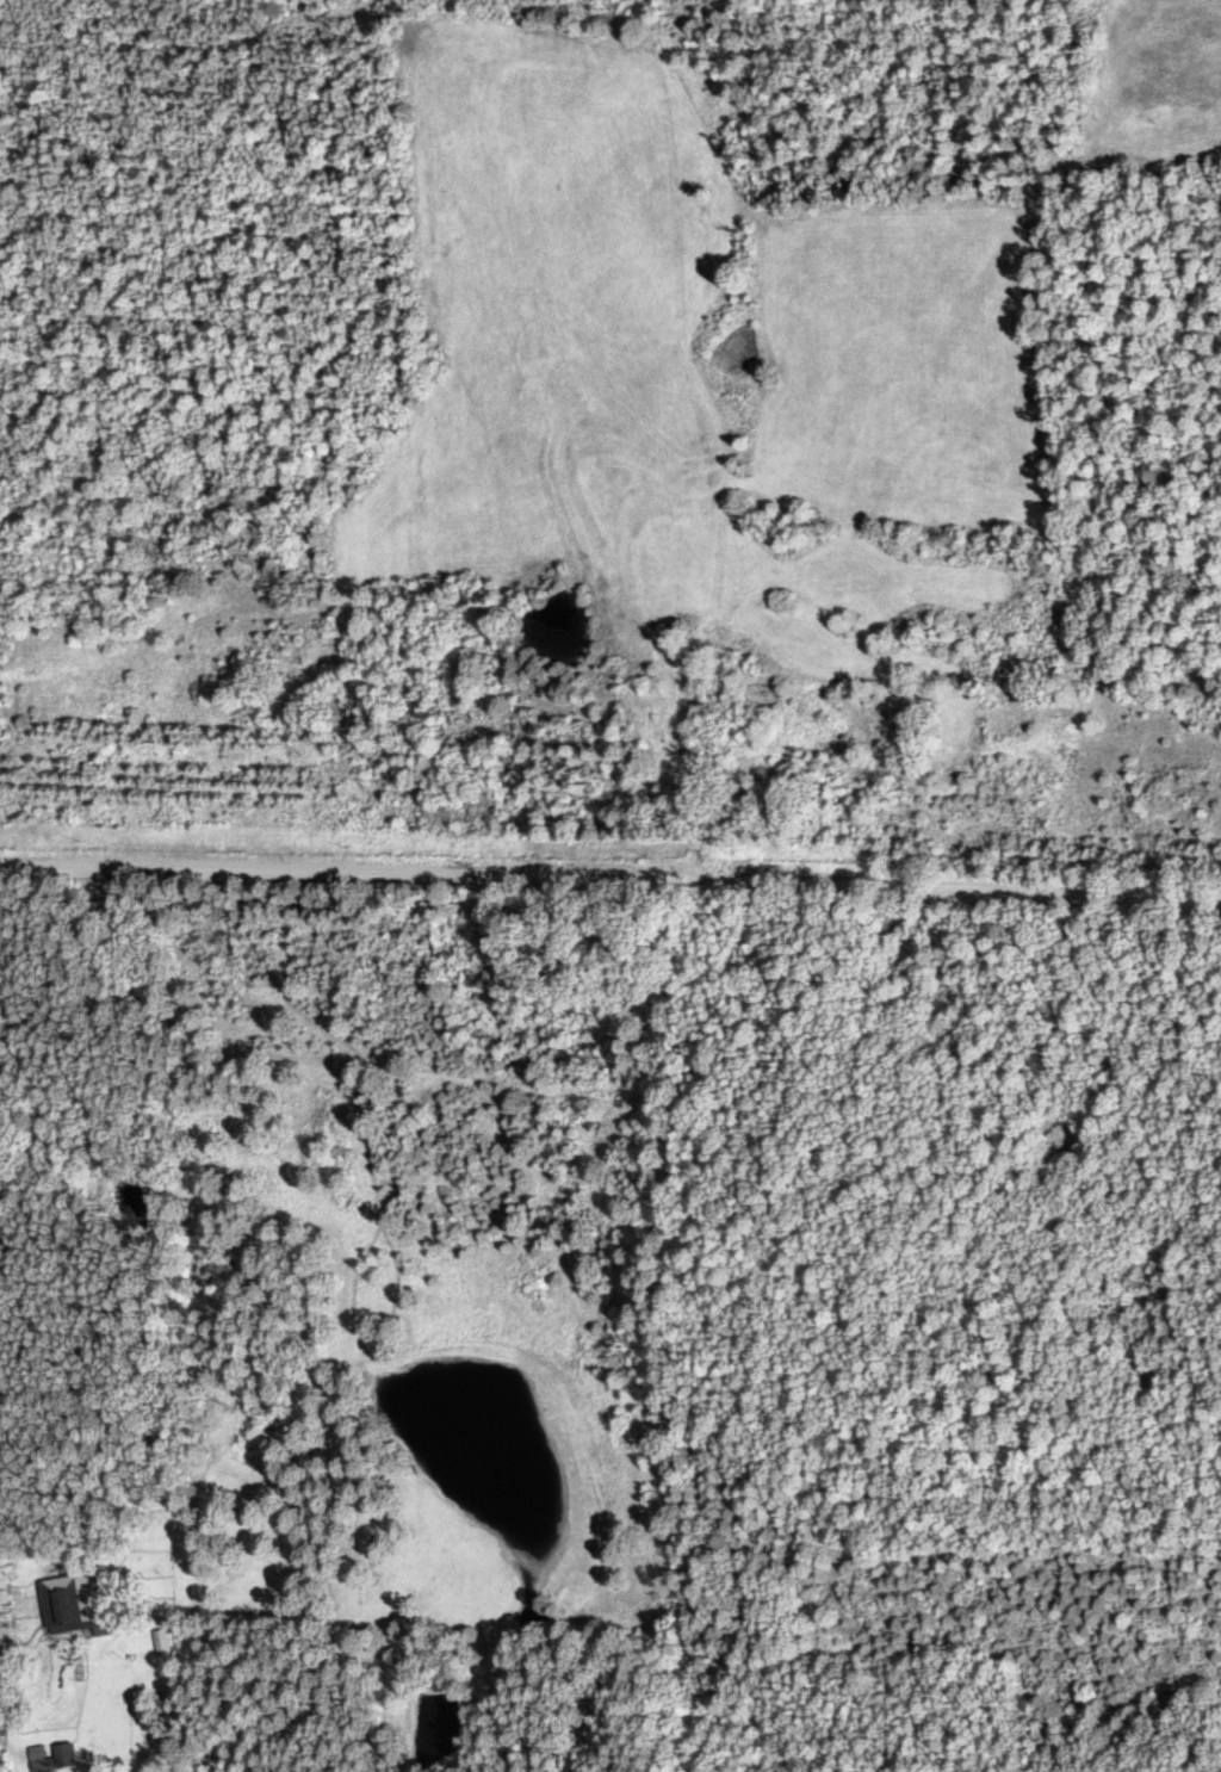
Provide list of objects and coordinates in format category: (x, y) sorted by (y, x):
road: (610, 874)
building: (76, 1605)
building: (166, 1641)
building: (72, 1754)

